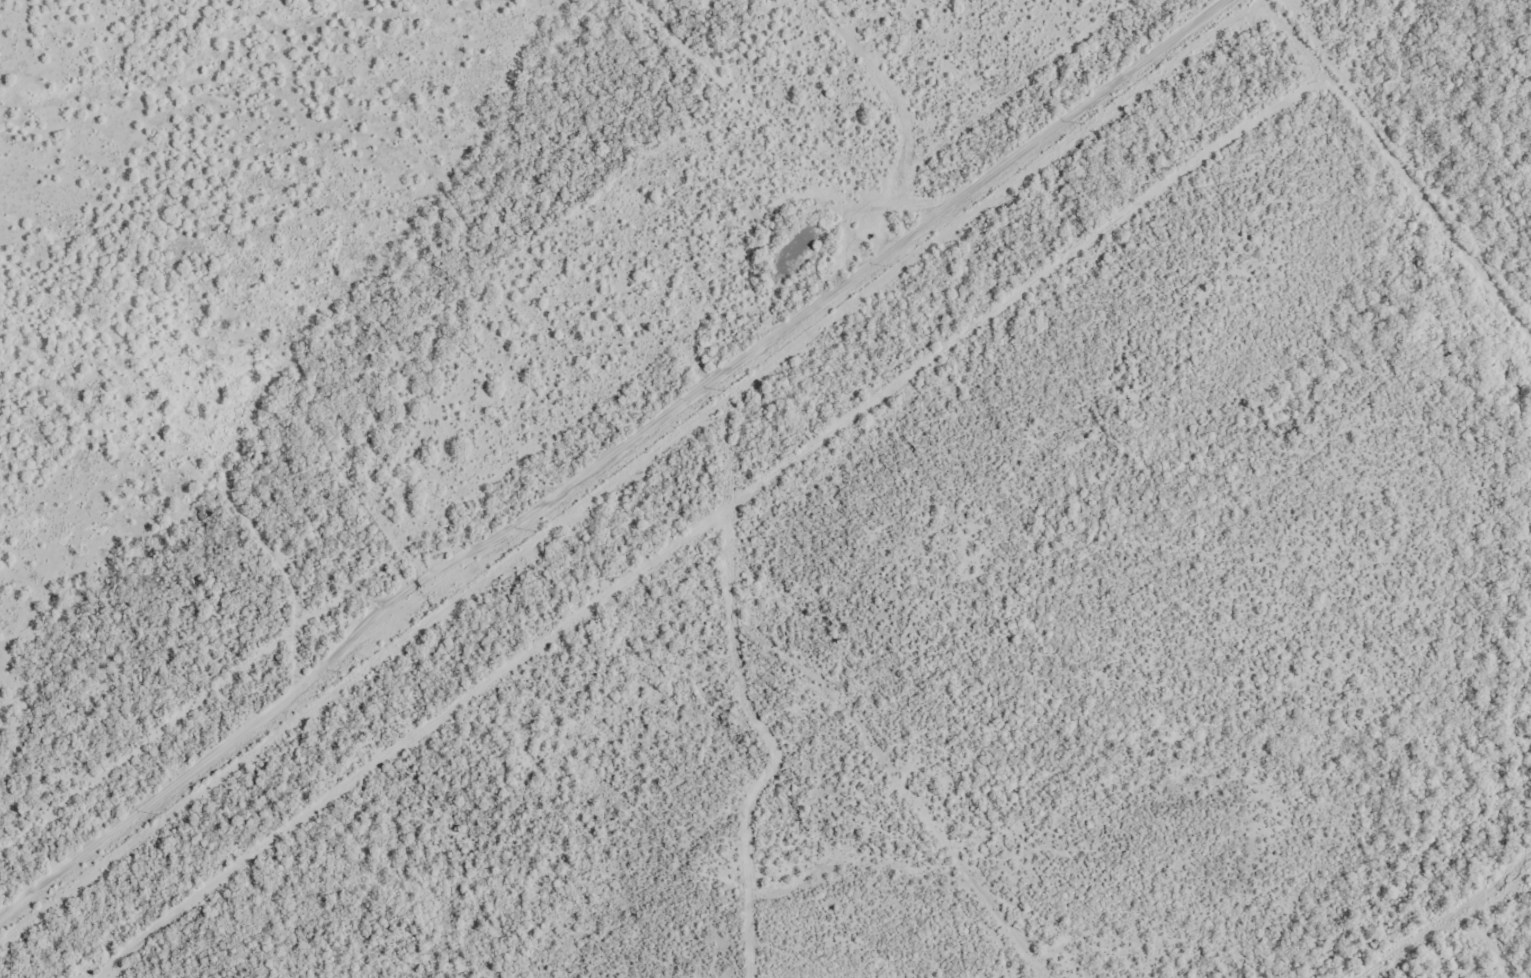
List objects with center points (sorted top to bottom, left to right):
road: (631, 461)

